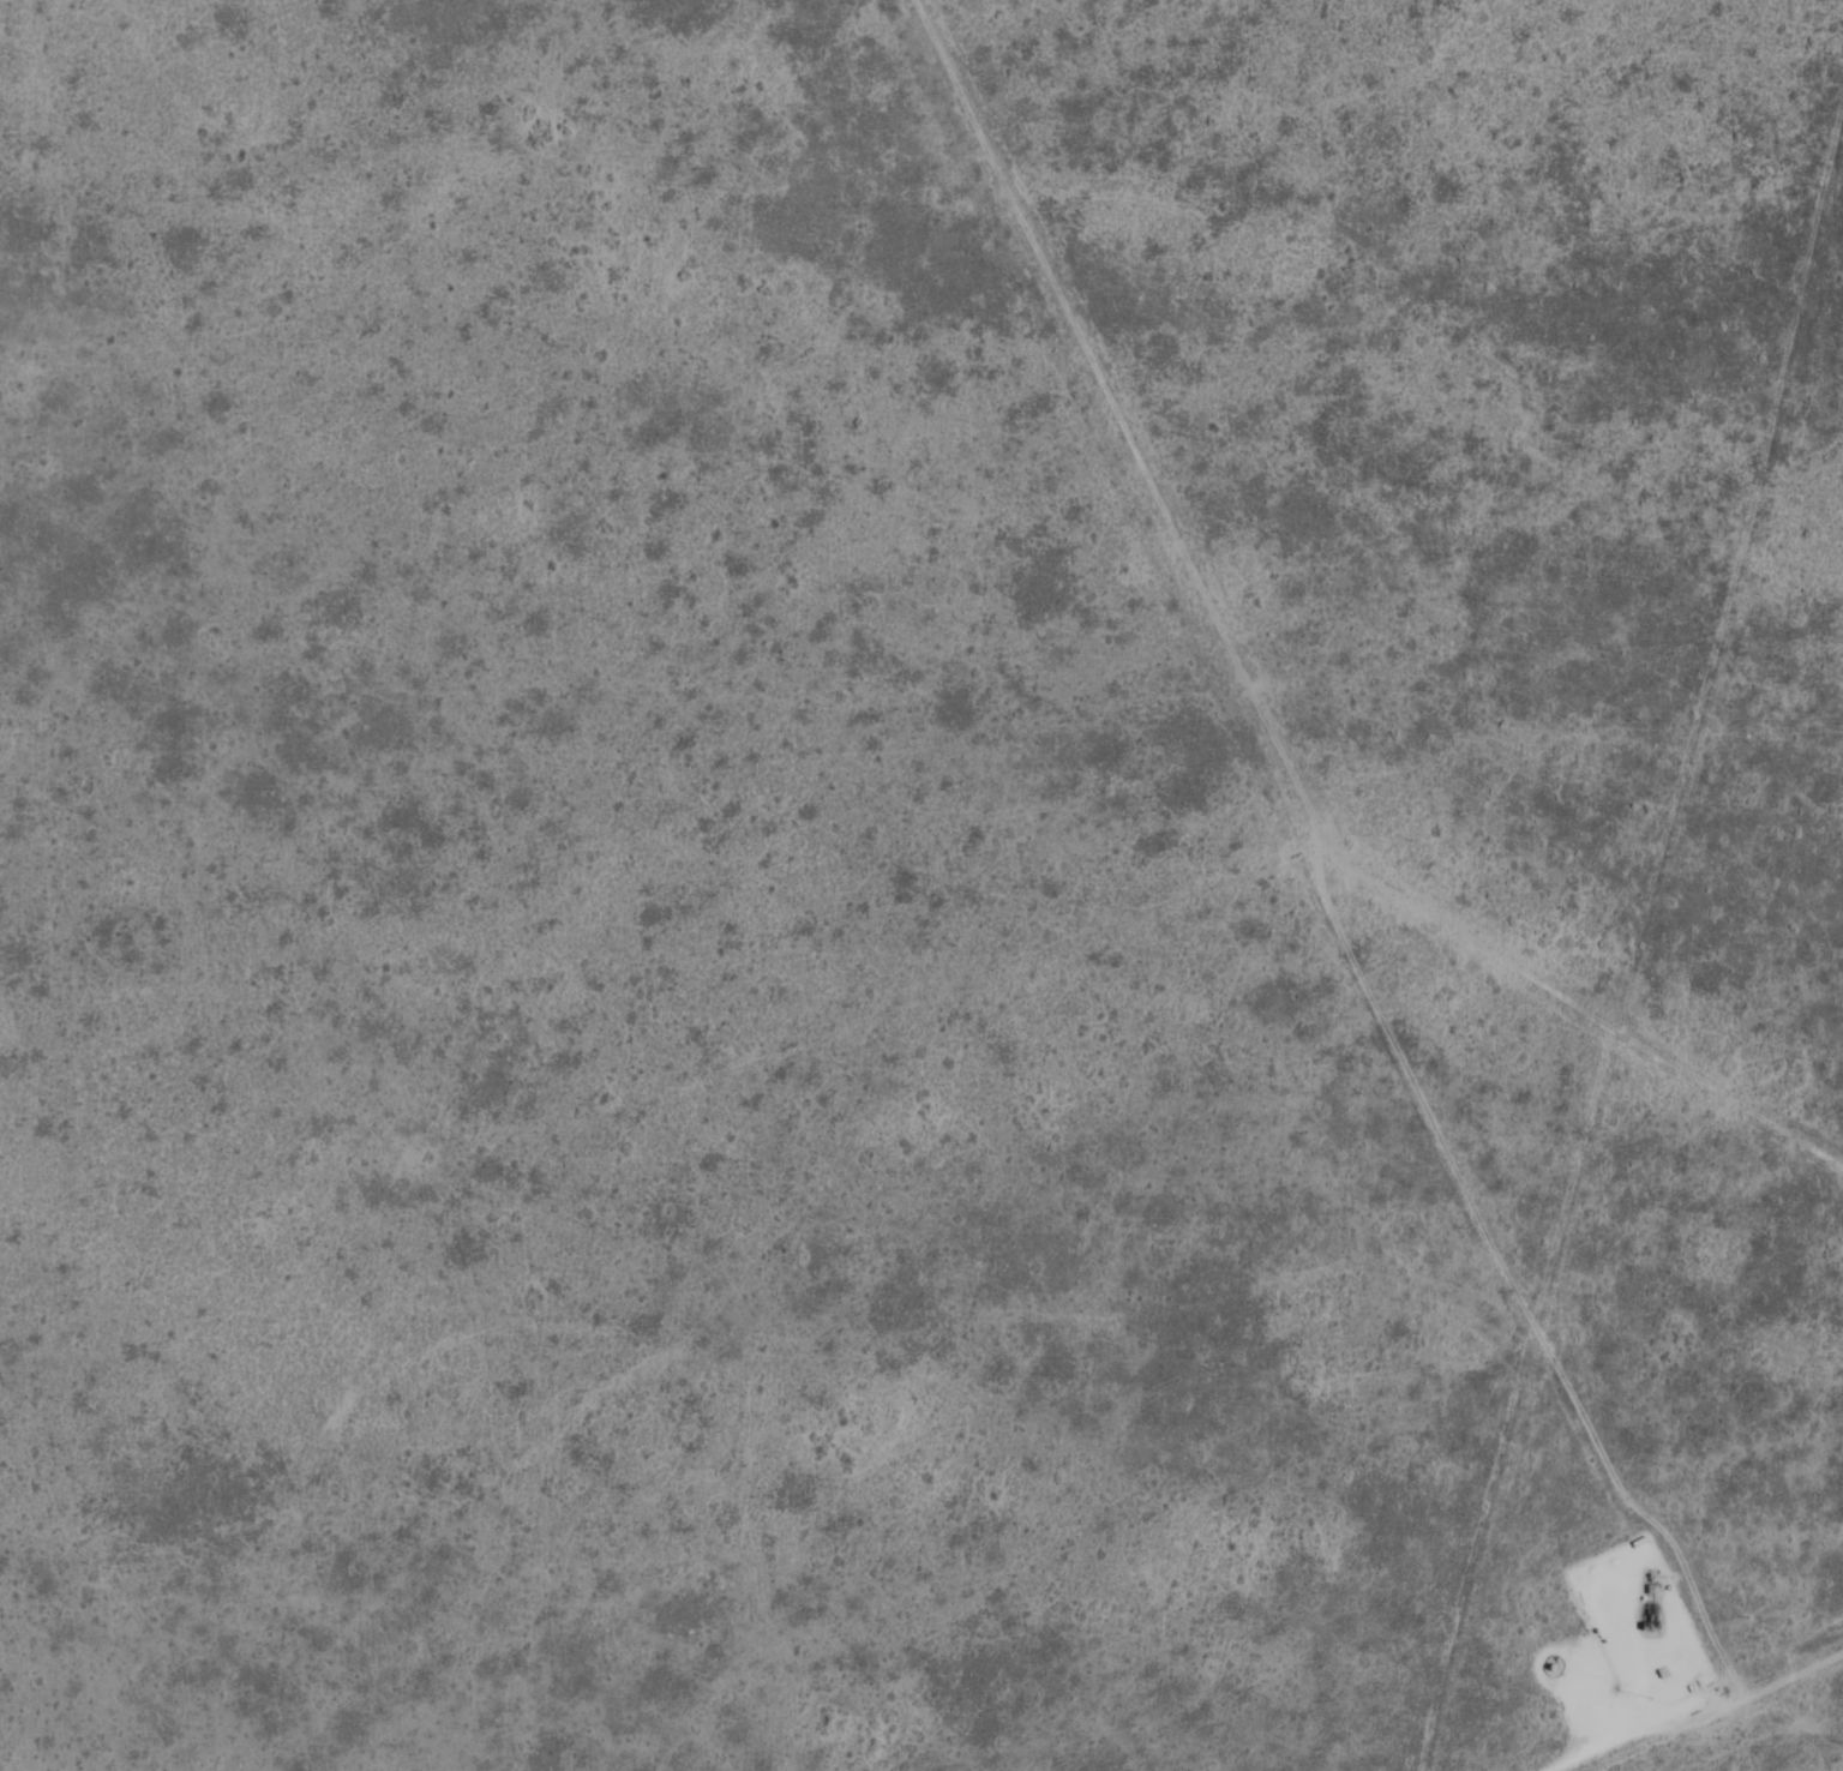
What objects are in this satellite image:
road: (1718, 1707)

